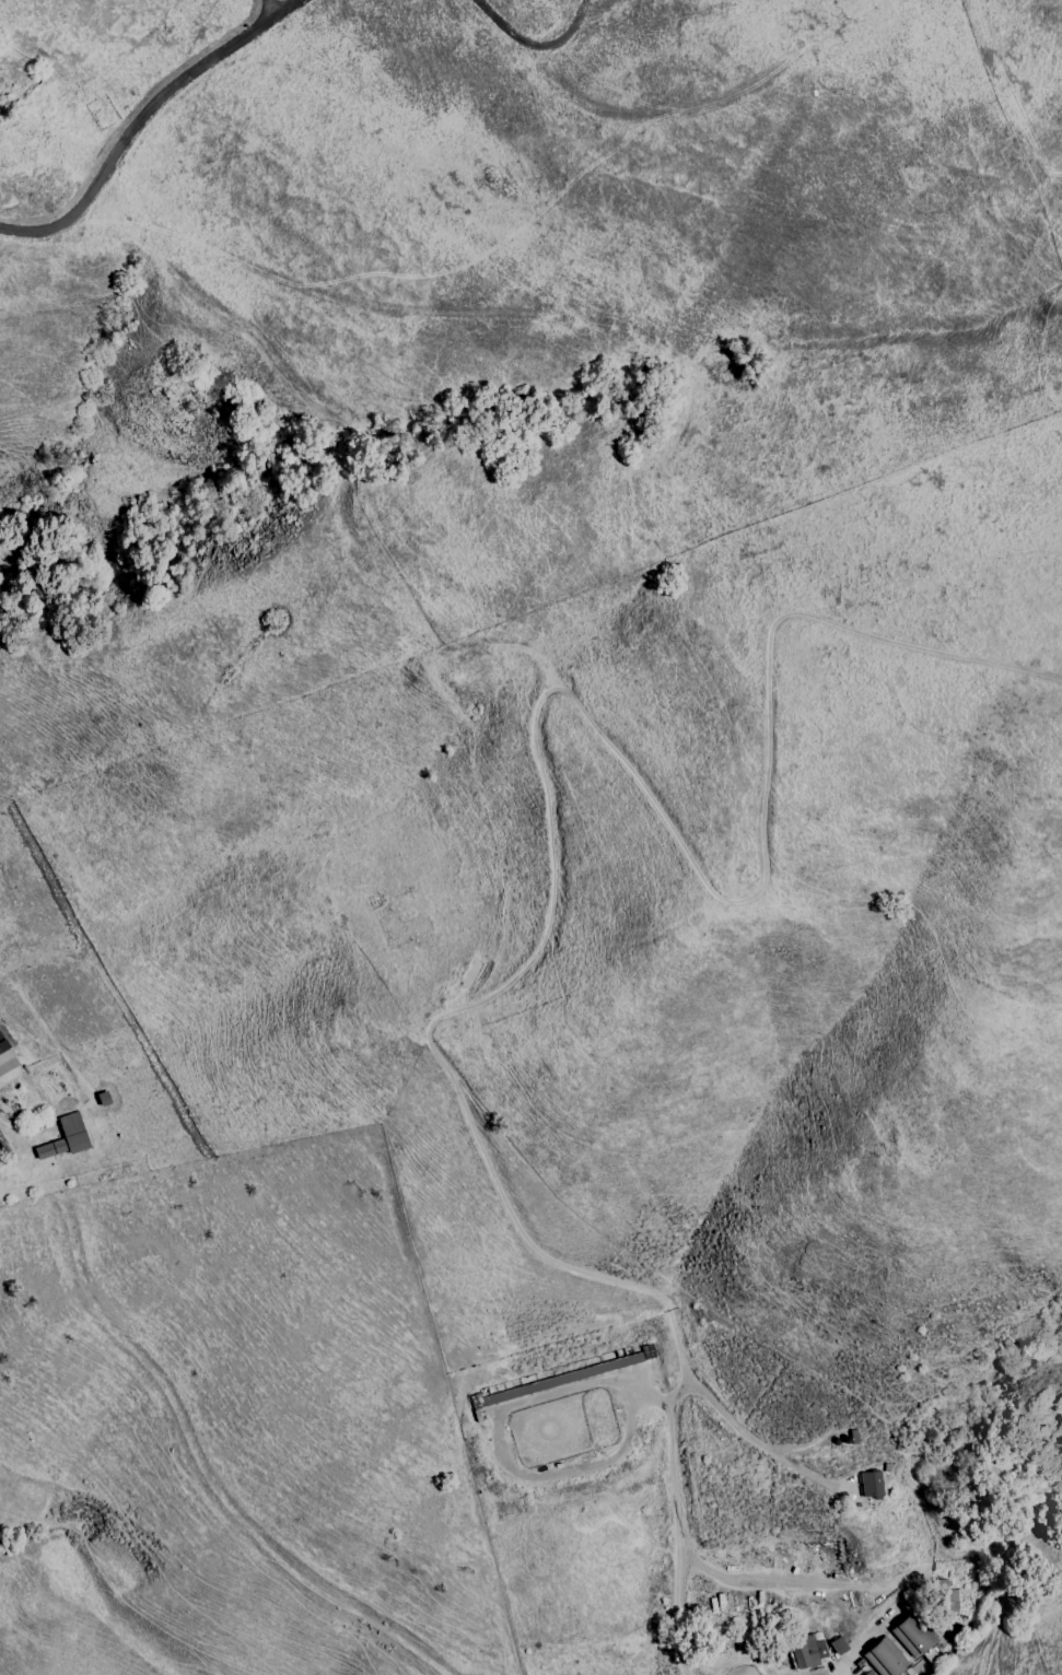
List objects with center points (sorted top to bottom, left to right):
road: (271, 10)
road: (533, 48)
road: (142, 115)
building: (5, 1056)
road: (10, 1123)
building: (66, 1138)
building: (870, 1485)
building: (838, 1645)
building: (901, 1648)
building: (807, 1652)
building: (865, 1674)

